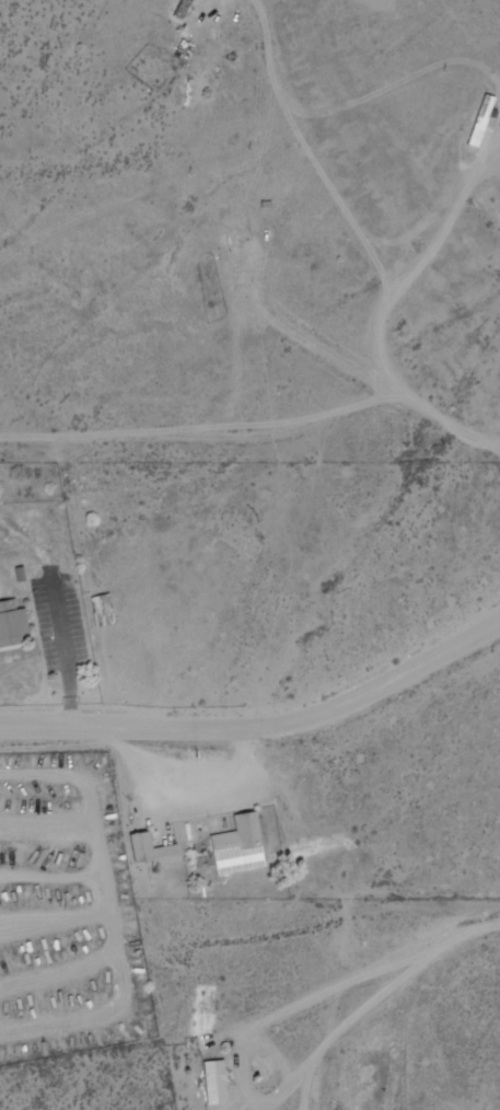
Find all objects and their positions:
building: (482, 122)
building: (233, 238)
building: (0, 481)
building: (100, 610)
building: (15, 625)
road: (261, 727)
building: (244, 845)
building: (158, 849)
building: (219, 1082)

